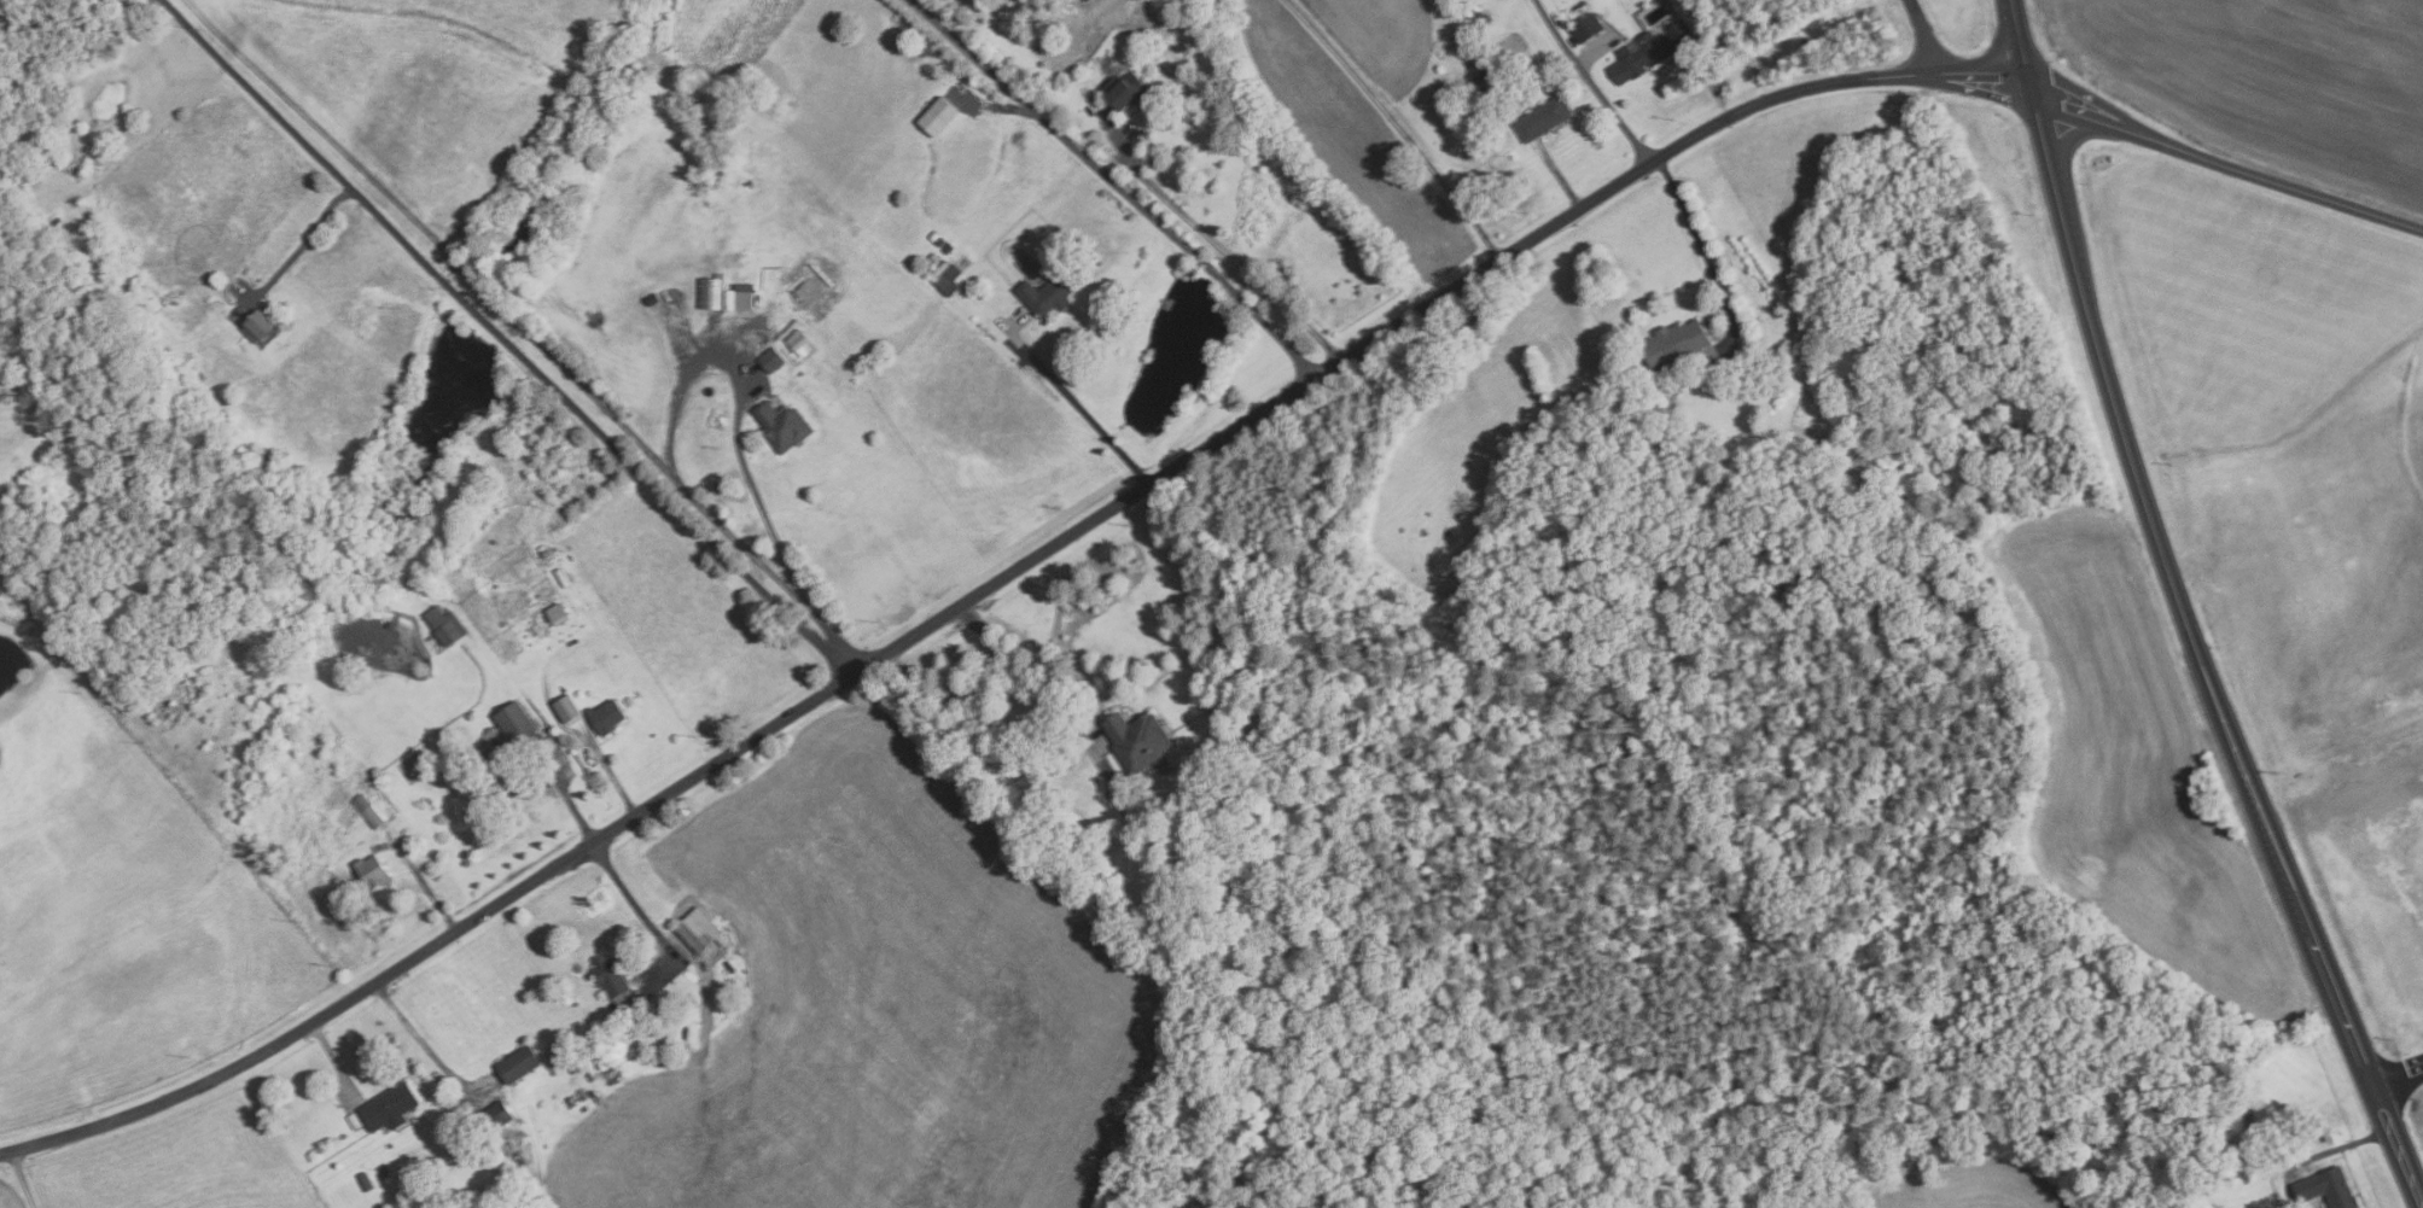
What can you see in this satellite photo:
building: (1087, 0)
building: (1480, 23)
building: (1585, 27)
road: (1921, 34)
road: (2004, 35)
road: (2021, 37)
building: (1648, 51)
road: (1958, 68)
road: (2006, 68)
crop: (2267, 80)
building: (1480, 81)
road: (1590, 82)
road: (1711, 82)
road: (1984, 87)
road: (2033, 88)
building: (1125, 91)
road: (2105, 112)
road: (2068, 115)
building: (1543, 118)
building: (934, 119)
road: (1396, 126)
road: (2139, 139)
road: (2062, 145)
road: (1559, 177)
road: (1117, 187)
road: (2301, 192)
building: (933, 234)
road: (303, 235)
building: (940, 240)
building: (948, 249)
road: (1228, 249)
road: (1707, 261)
building: (1099, 262)
building: (947, 279)
building: (805, 288)
building: (1048, 290)
building: (710, 292)
road: (489, 293)
building: (738, 296)
building: (266, 323)
road: (505, 339)
building: (797, 342)
building: (1673, 343)
building: (769, 360)
road: (751, 390)
road: (1079, 409)
building: (782, 425)
road: (1402, 443)
building: (493, 541)
building: (543, 550)
building: (494, 585)
road: (966, 605)
building: (555, 613)
building: (502, 623)
building: (443, 625)
road: (827, 626)
road: (2207, 661)
building: (1414, 663)
road: (1025, 675)
building: (565, 708)
building: (605, 717)
building: (519, 728)
building: (1136, 740)
road: (607, 769)
building: (502, 780)
road: (2346, 790)
road: (569, 804)
building: (367, 811)
building: (371, 871)
road: (424, 883)
road: (630, 897)
building: (697, 930)
building: (612, 984)
building: (611, 1044)
road: (427, 1047)
road: (334, 1060)
building: (517, 1064)
road: (2398, 1078)
building: (388, 1108)
building: (491, 1119)
building: (354, 1121)
building: (379, 1168)
road: (24, 1179)
building: (365, 1181)
building: (2325, 1189)
crop: (8, 1197)

